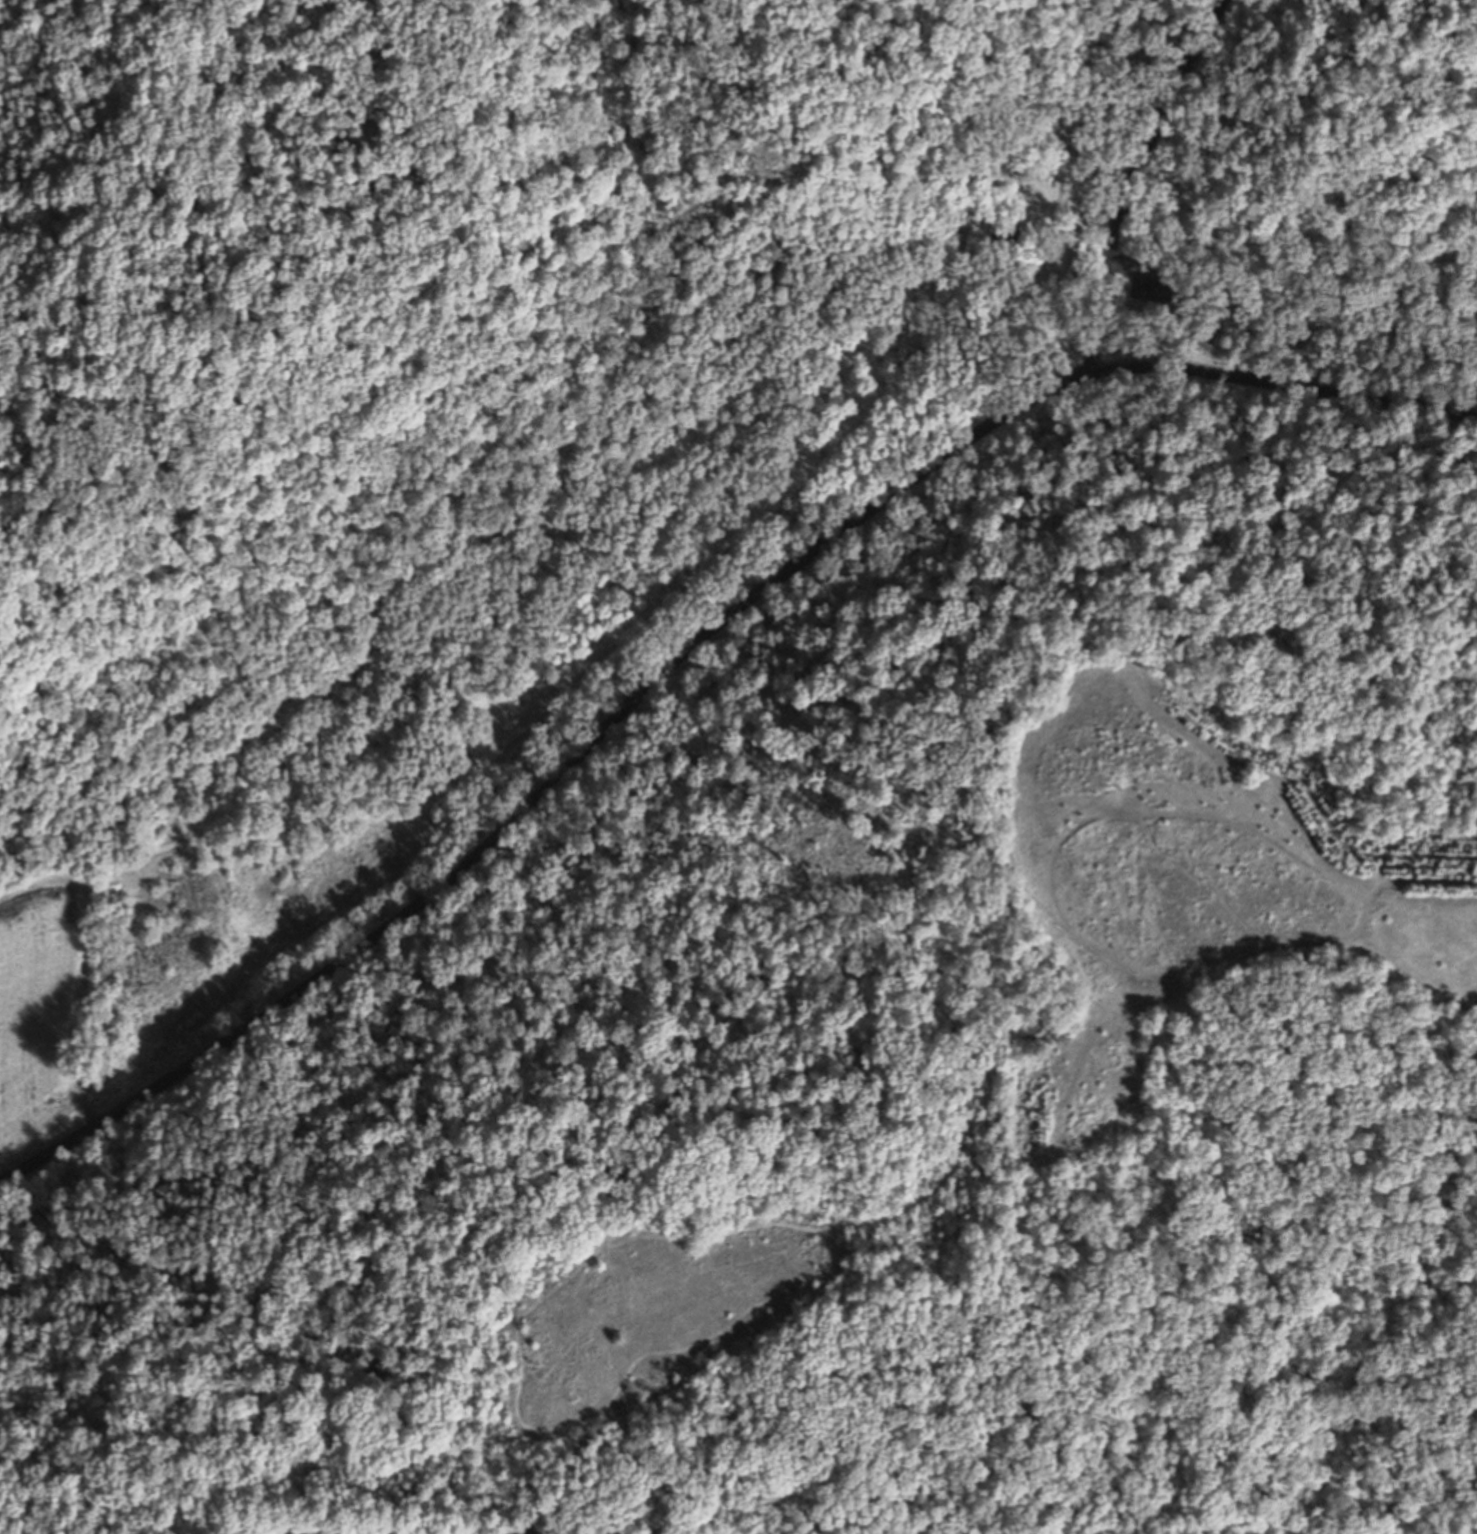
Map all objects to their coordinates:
road: (814, 67)
building: (775, 128)
building: (1065, 145)
road: (1129, 191)
road: (1091, 227)
building: (1008, 237)
road: (644, 248)
road: (845, 257)
road: (1134, 268)
parking lot: (1147, 283)
road: (1133, 349)
road: (1294, 387)
road: (166, 450)
road: (681, 708)
road: (557, 777)
road: (485, 801)
building: (981, 825)
road: (449, 837)
road: (141, 850)
road: (790, 979)
road: (827, 1230)
road: (916, 1288)
road: (513, 1420)

